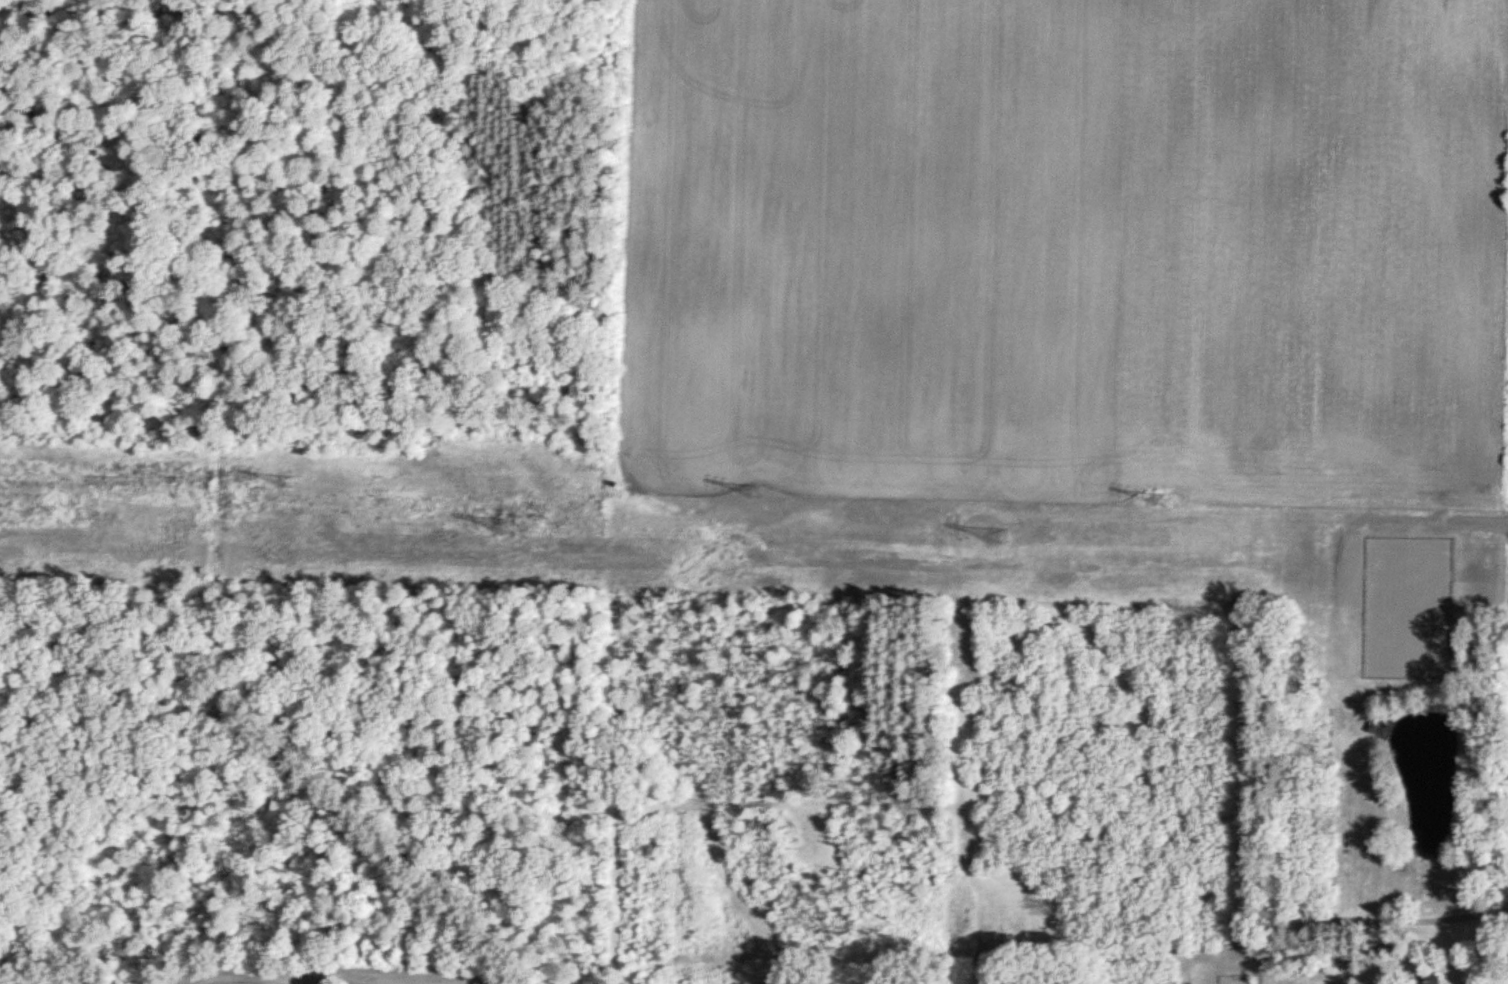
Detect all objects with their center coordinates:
power tower: (290, 485)
power tower: (756, 494)
power tower: (1159, 502)
power tower: (509, 532)
power tower: (1001, 541)
building: (1379, 726)
building: (1421, 979)

